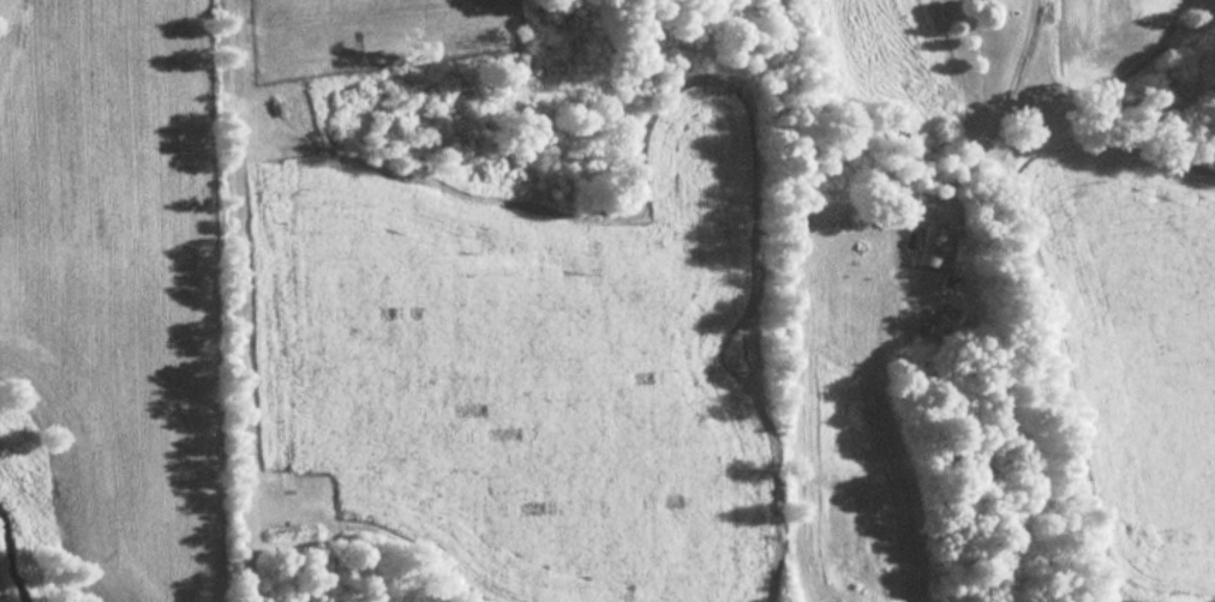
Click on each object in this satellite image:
road: (989, 121)
building: (929, 246)

